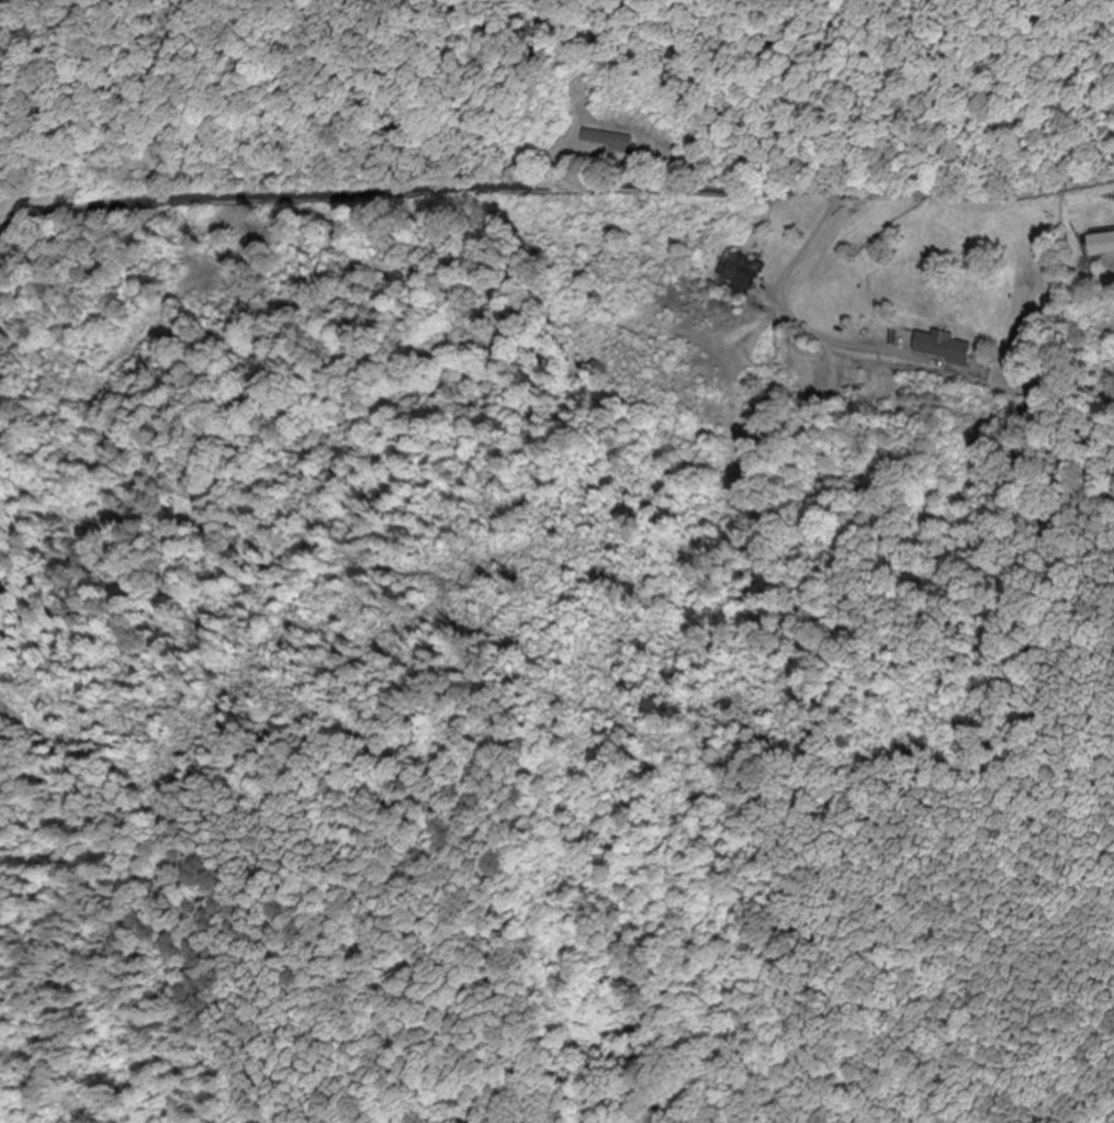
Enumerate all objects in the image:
building: (606, 141)
road: (554, 189)
building: (1101, 244)
building: (740, 270)
building: (946, 348)

